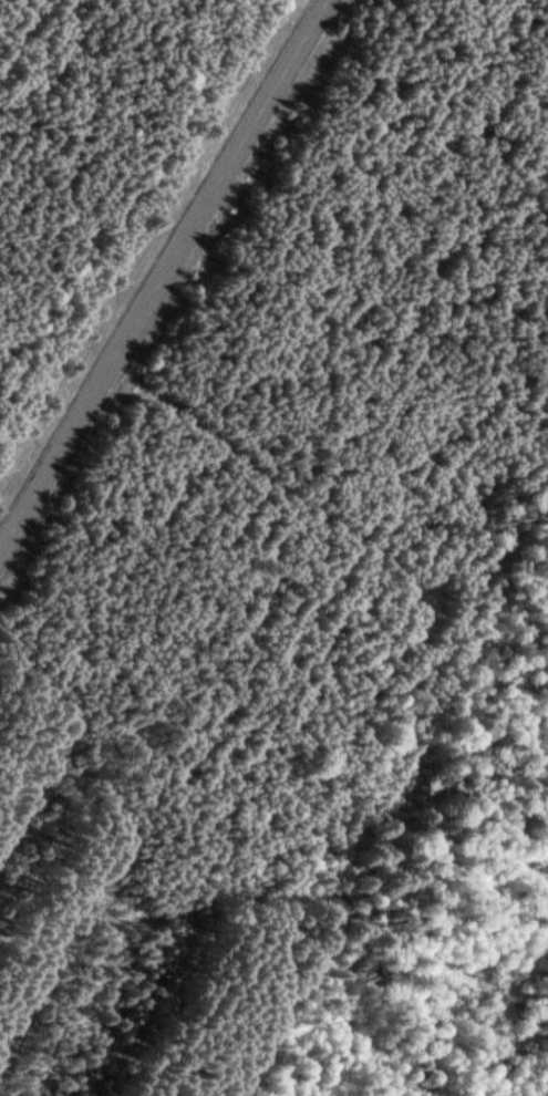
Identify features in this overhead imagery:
road: (166, 278)

